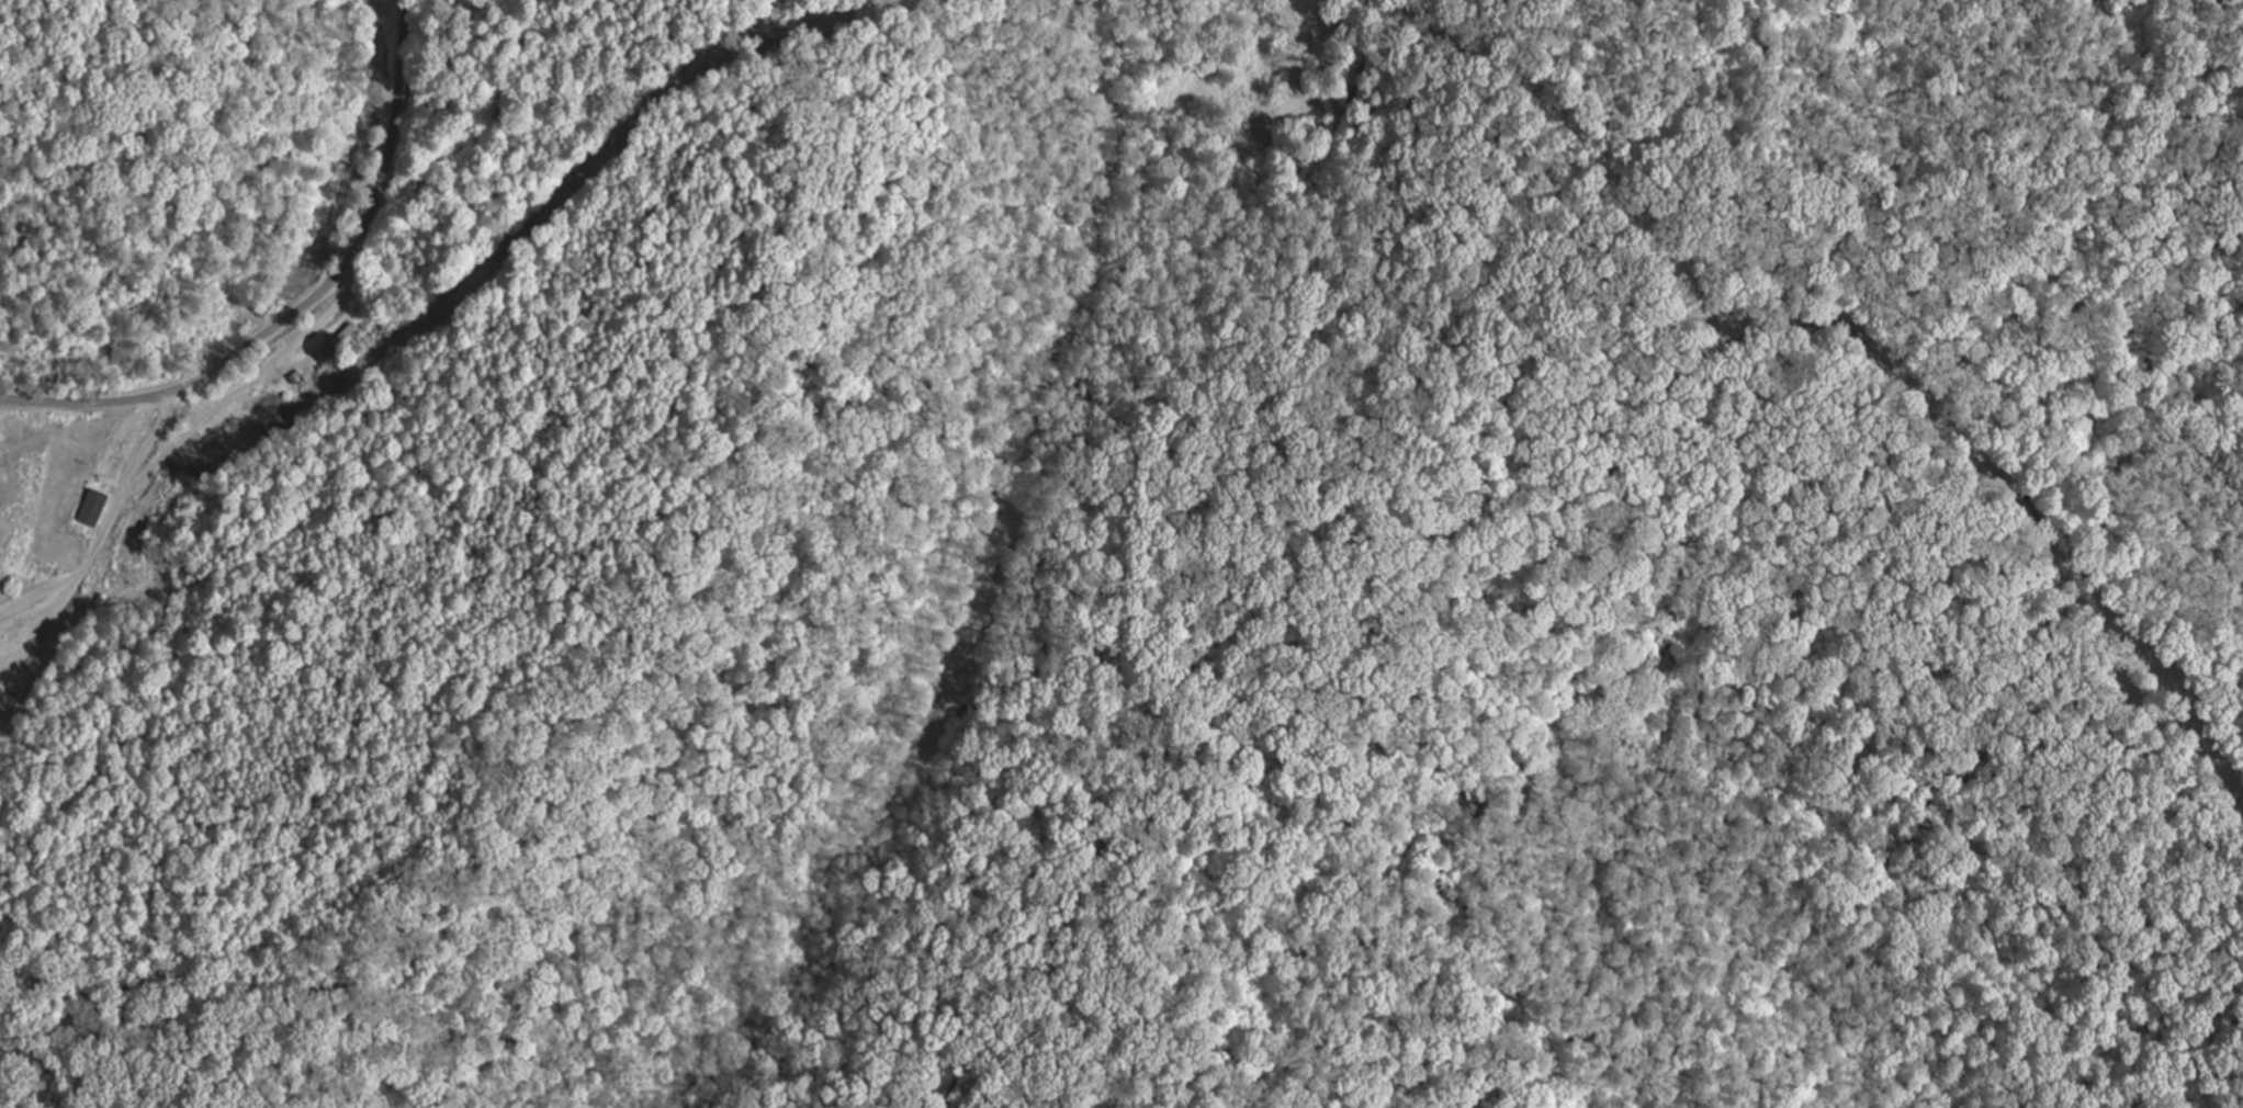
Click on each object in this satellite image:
road: (305, 305)
building: (93, 508)
road: (99, 536)
road: (1255, 587)

